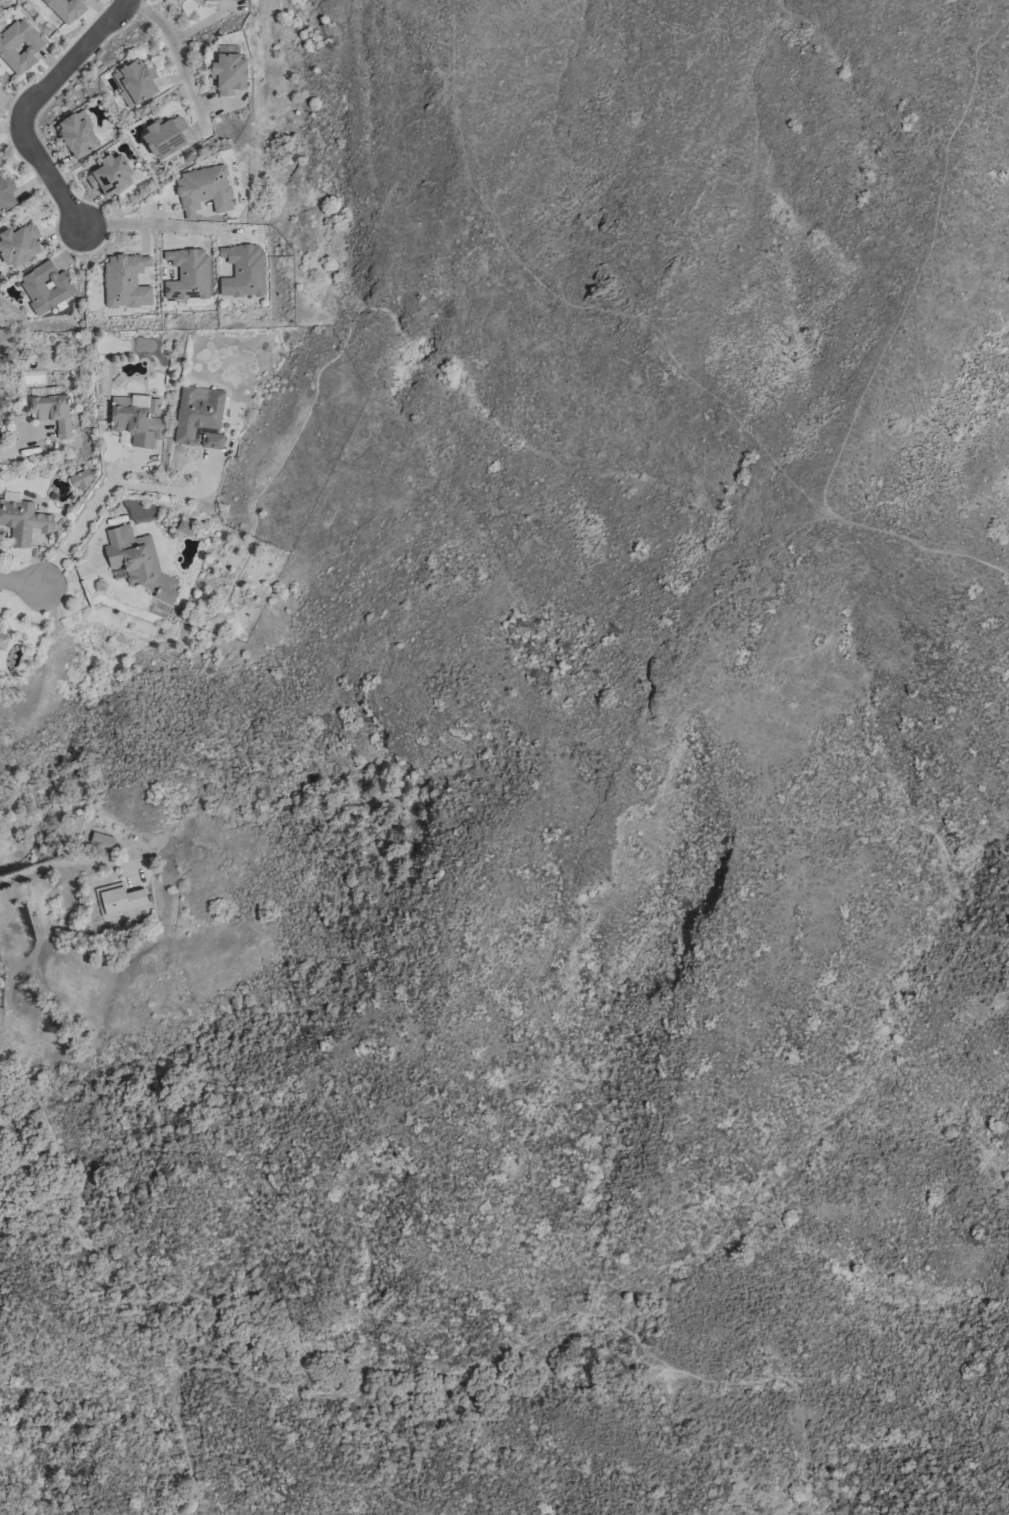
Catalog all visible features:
building: (210, 0)
building: (65, 9)
building: (18, 46)
road: (173, 50)
building: (228, 69)
building: (133, 82)
road: (26, 104)
building: (76, 134)
building: (163, 136)
building: (108, 174)
building: (202, 190)
building: (5, 192)
road: (154, 226)
building: (18, 244)
building: (242, 270)
building: (187, 274)
building: (125, 281)
building: (45, 287)
building: (51, 412)
building: (198, 417)
building: (136, 420)
road: (3, 451)
building: (79, 480)
building: (22, 519)
road: (808, 521)
road: (82, 524)
building: (184, 527)
building: (137, 561)
road: (21, 583)
building: (2, 640)
building: (101, 839)
road: (66, 863)
building: (117, 898)
road: (292, 1339)
road: (635, 1341)

